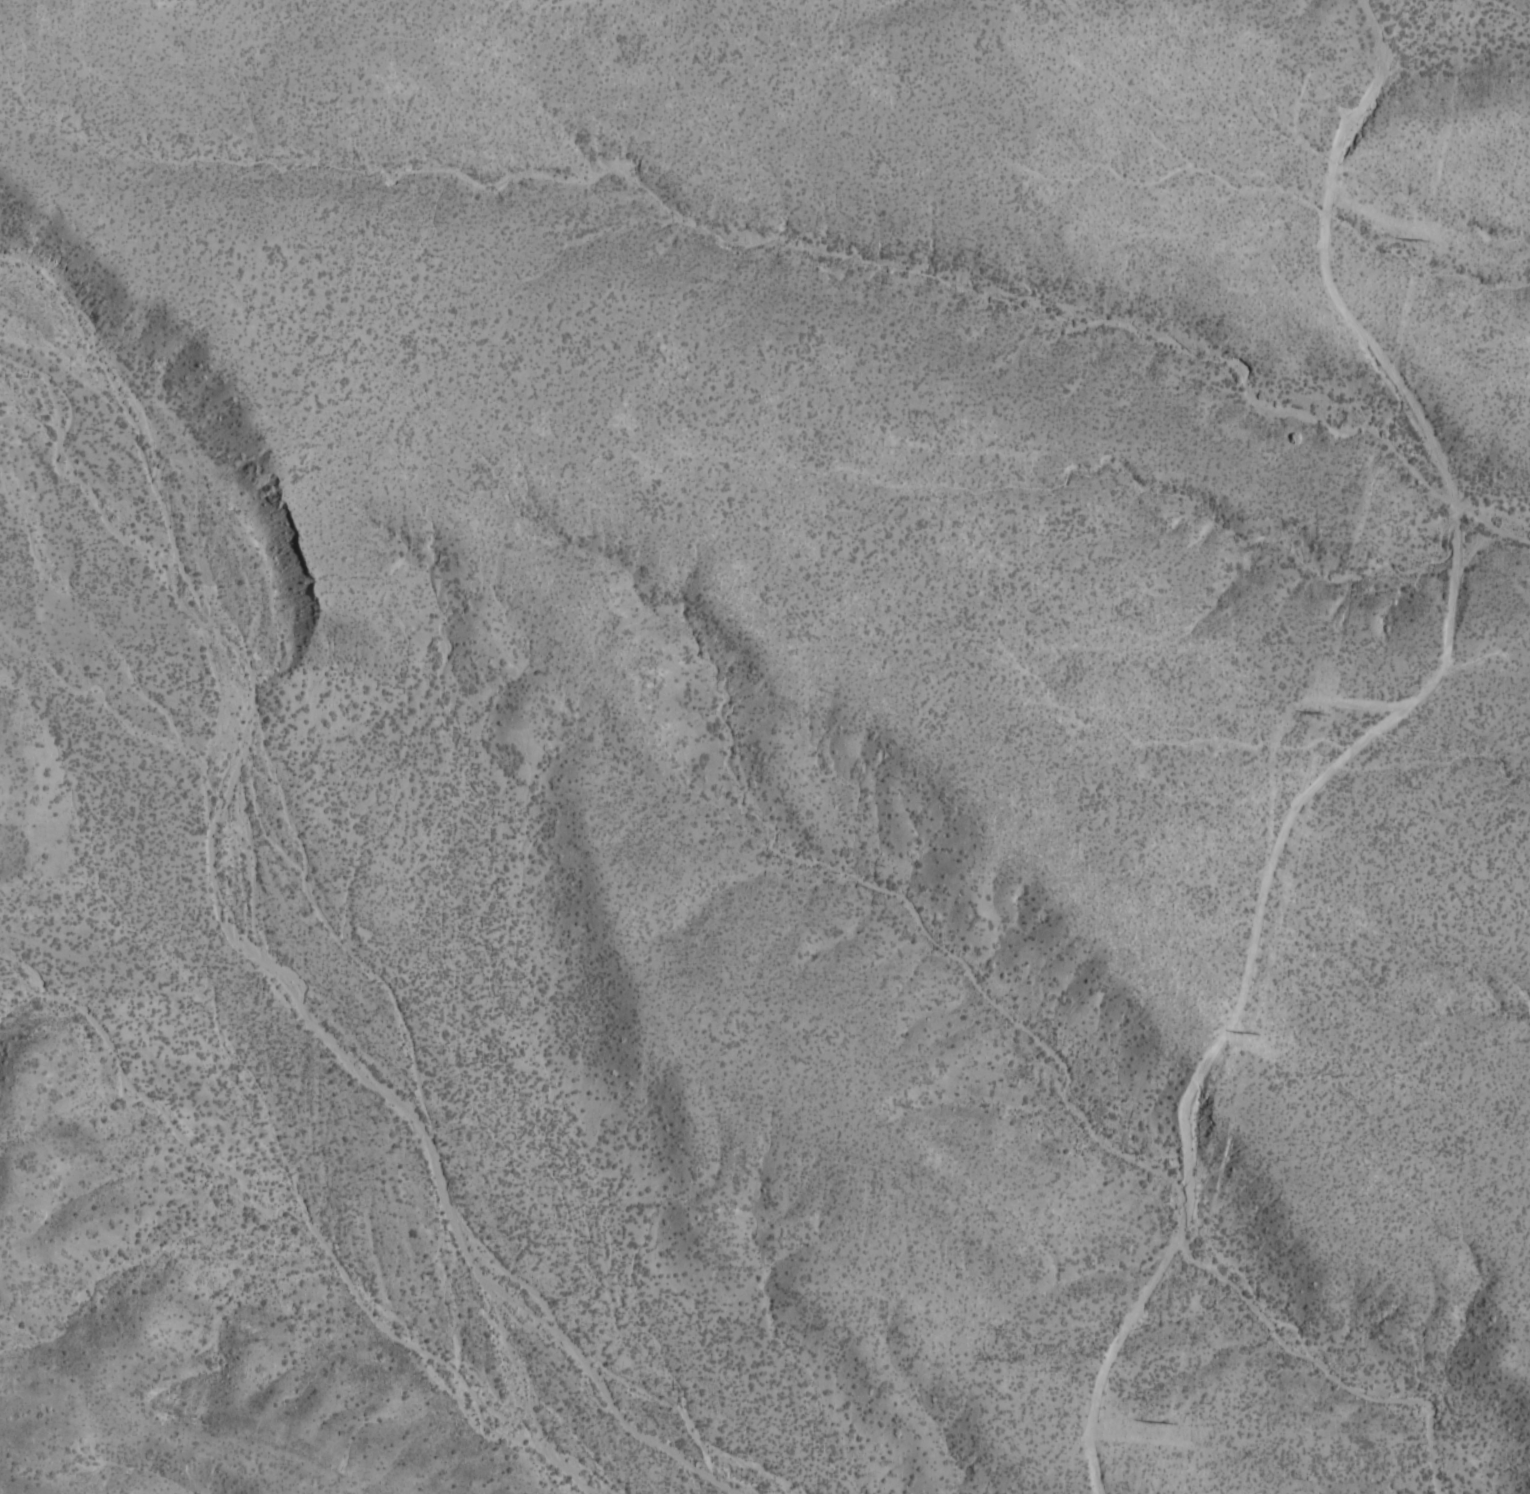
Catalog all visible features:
road: (1377, 349)
road: (1287, 721)
road: (1333, 768)
road: (1182, 1175)

